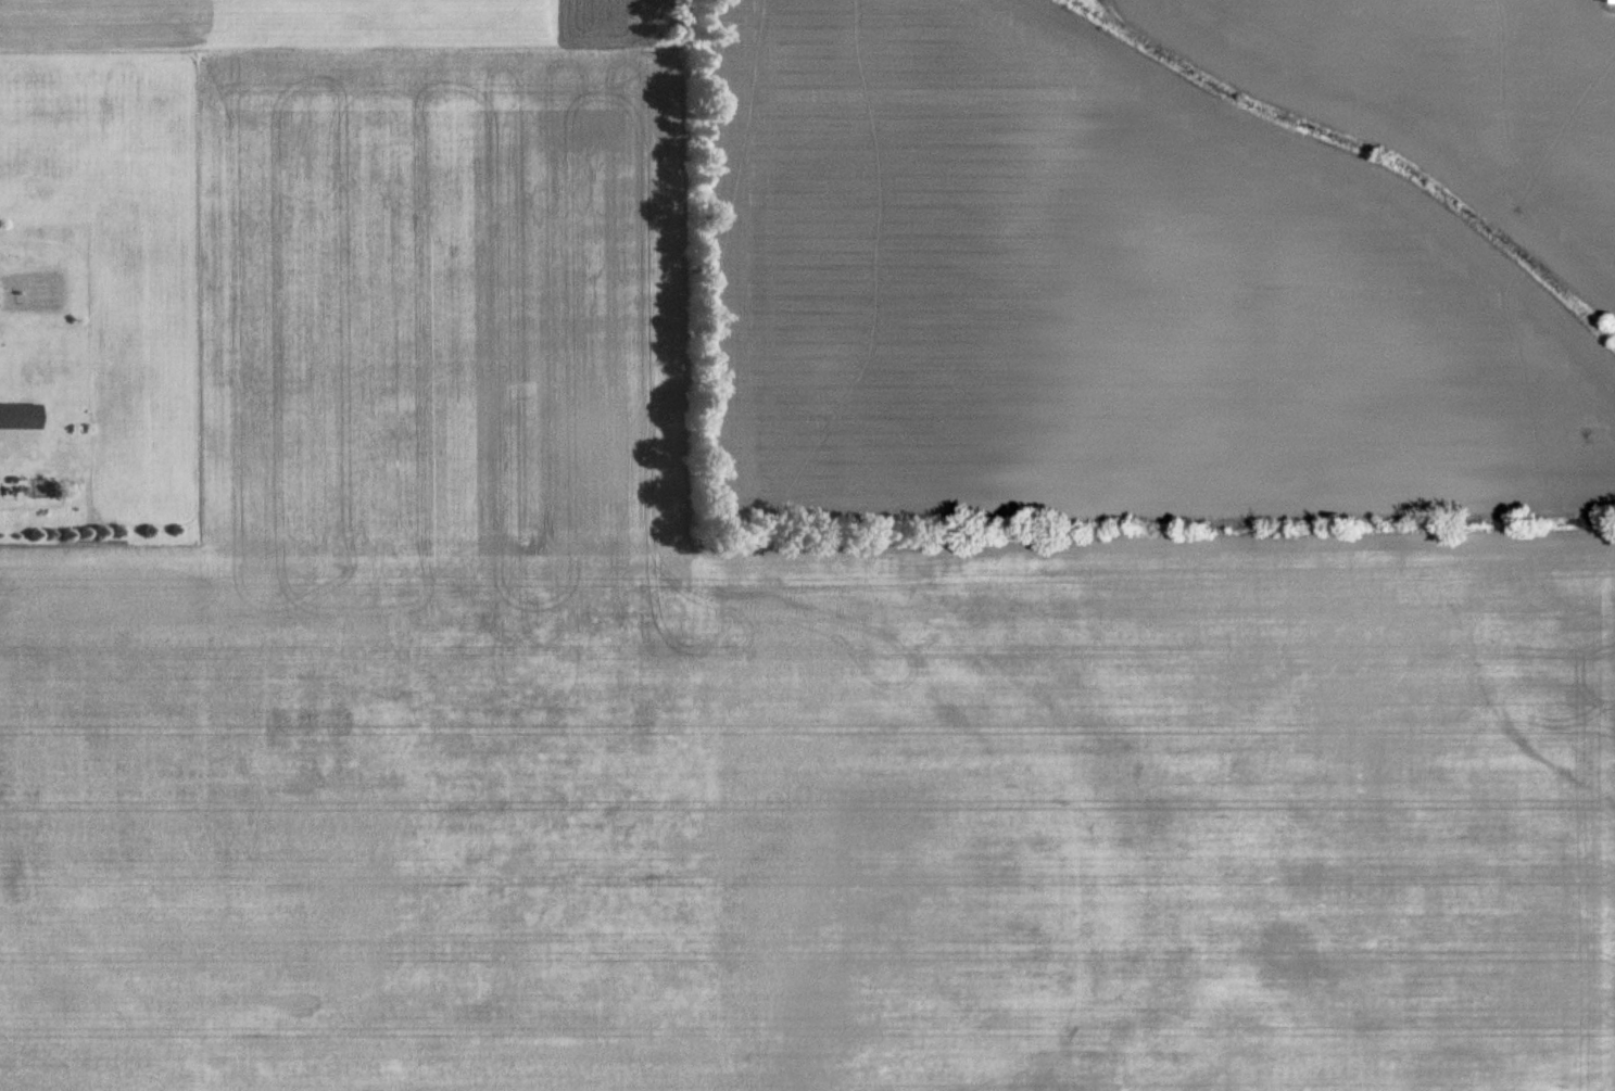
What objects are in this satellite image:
building: (1613, 1)
building: (21, 417)

